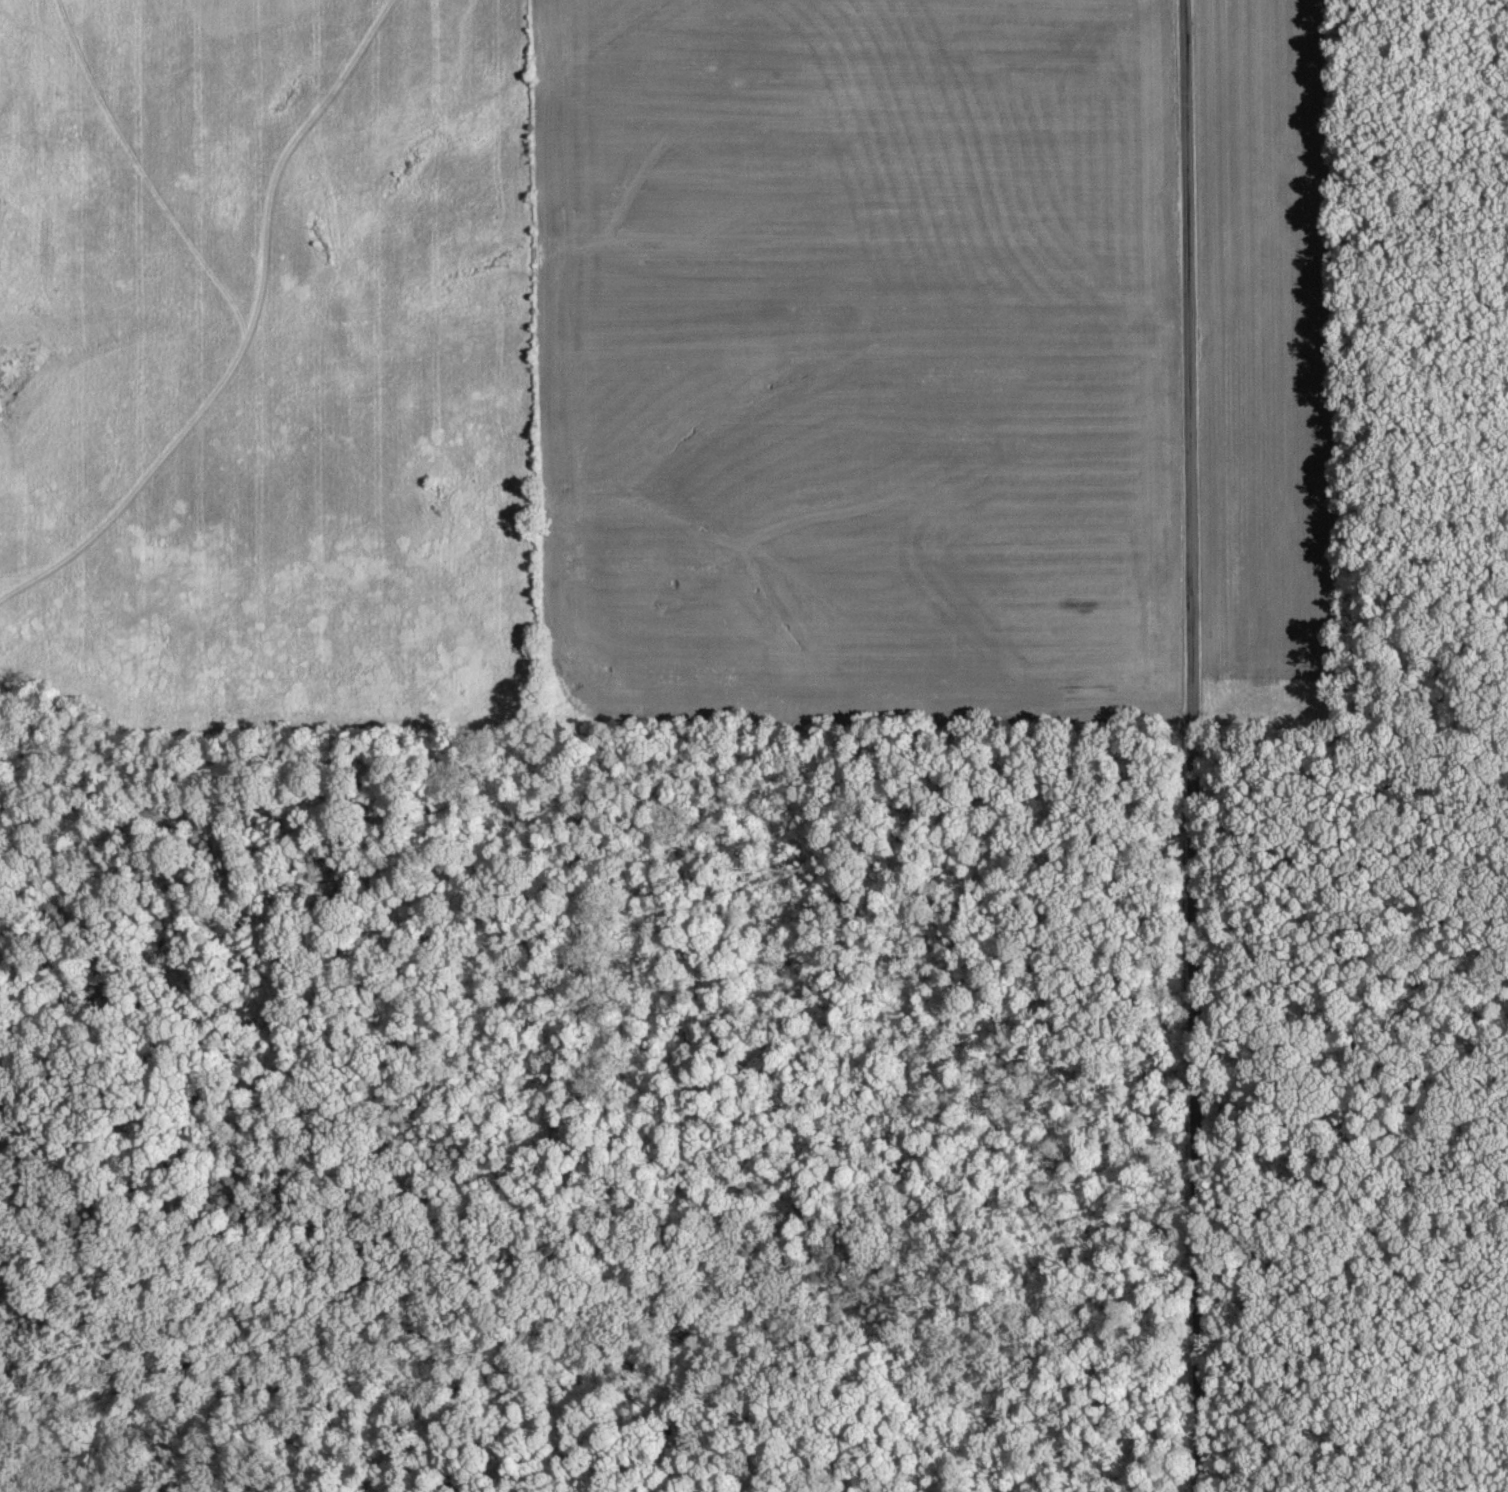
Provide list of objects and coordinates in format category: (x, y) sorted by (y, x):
road: (1188, 746)

